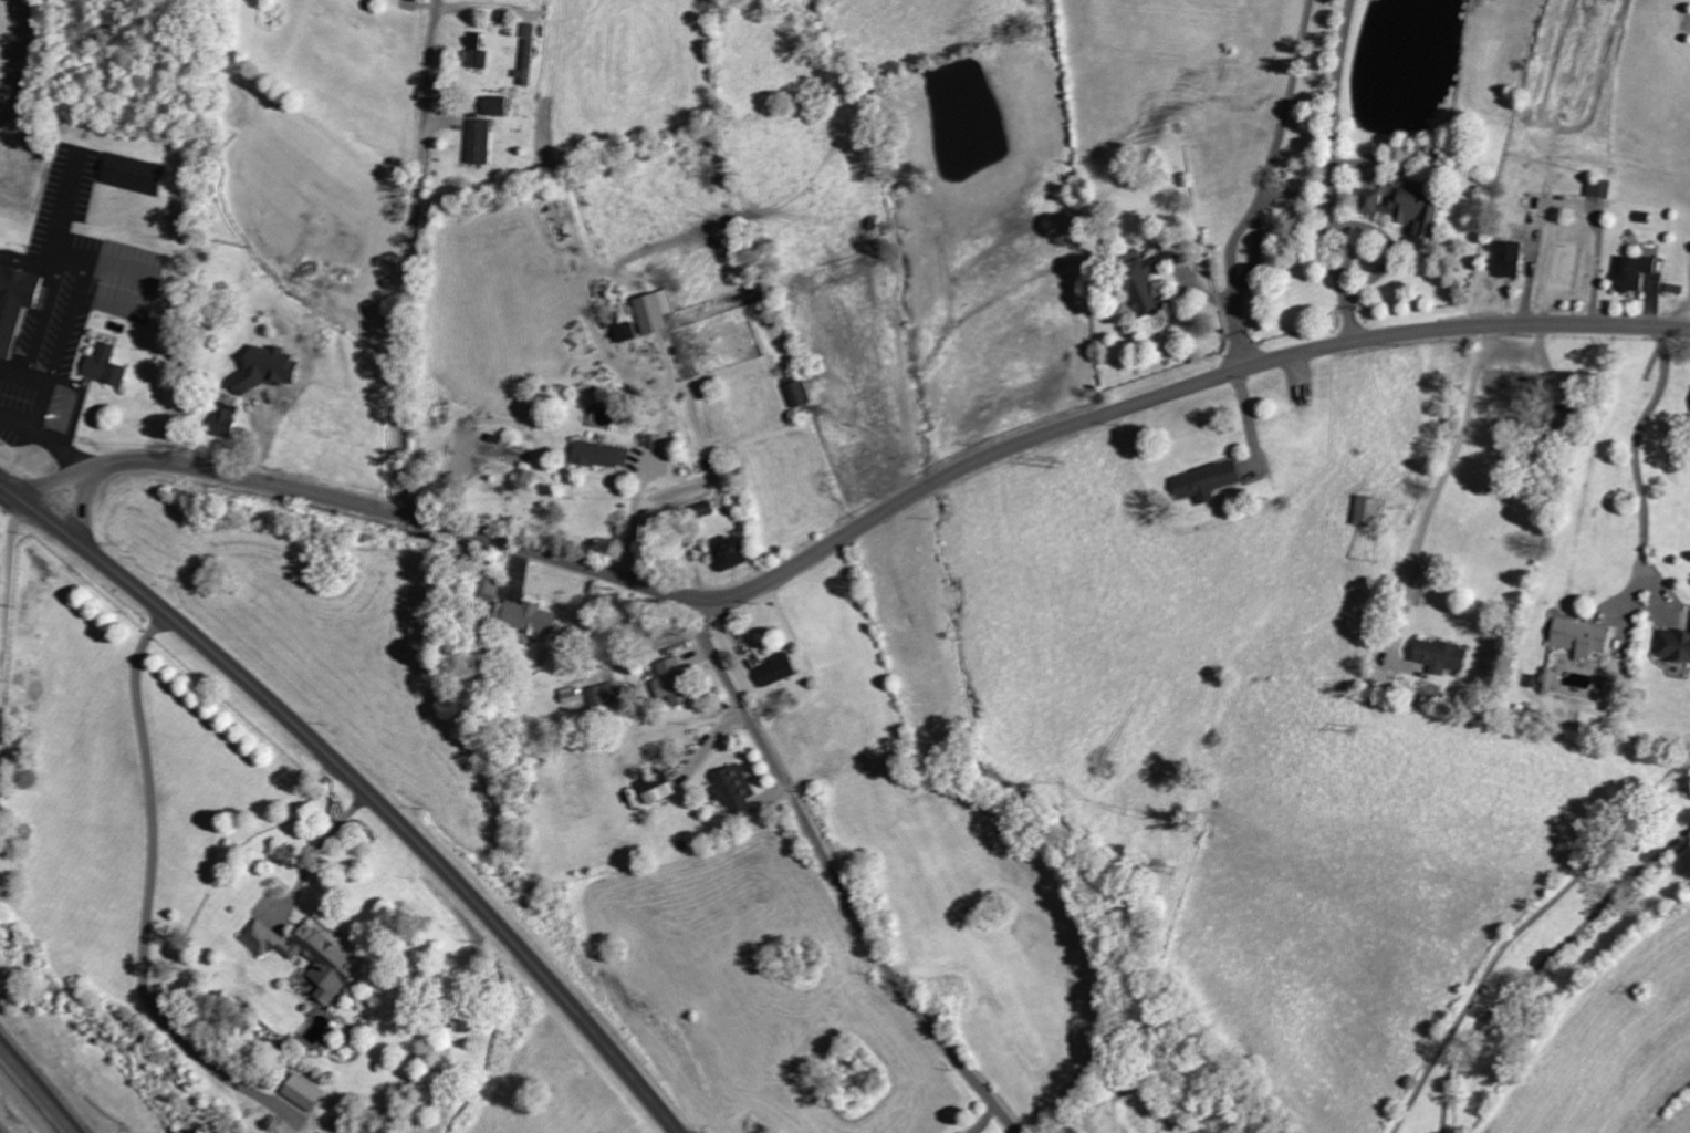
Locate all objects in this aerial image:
building: (478, 52)
building: (526, 54)
building: (494, 106)
building: (479, 142)
building: (132, 174)
building: (1599, 188)
building: (1404, 207)
road: (413, 258)
building: (1508, 259)
building: (1635, 272)
building: (1147, 281)
building: (14, 304)
building: (655, 311)
building: (626, 332)
building: (104, 366)
building: (799, 394)
building: (222, 420)
building: (503, 450)
building: (603, 456)
building: (1208, 481)
road: (85, 507)
building: (705, 509)
building: (1368, 512)
road: (853, 532)
building: (730, 551)
building: (487, 583)
building: (529, 617)
building: (1583, 638)
building: (1675, 644)
building: (1442, 655)
building: (778, 669)
building: (672, 682)
building: (603, 695)
road: (362, 784)
building: (657, 788)
building: (736, 790)
road: (836, 875)
building: (309, 956)
building: (304, 1092)
road: (32, 1095)
building: (1074, 1130)
road: (0, 1132)
building: (963, 1132)

